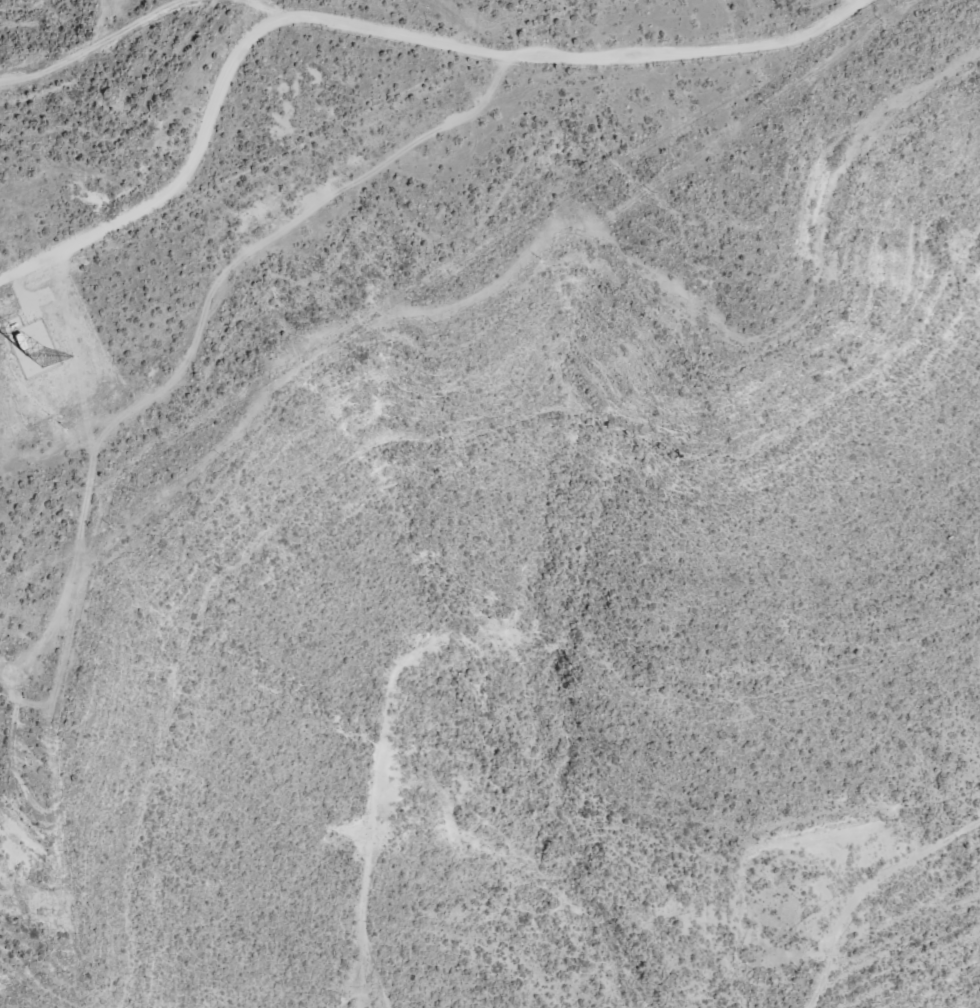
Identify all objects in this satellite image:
road: (462, 67)
road: (878, 899)

